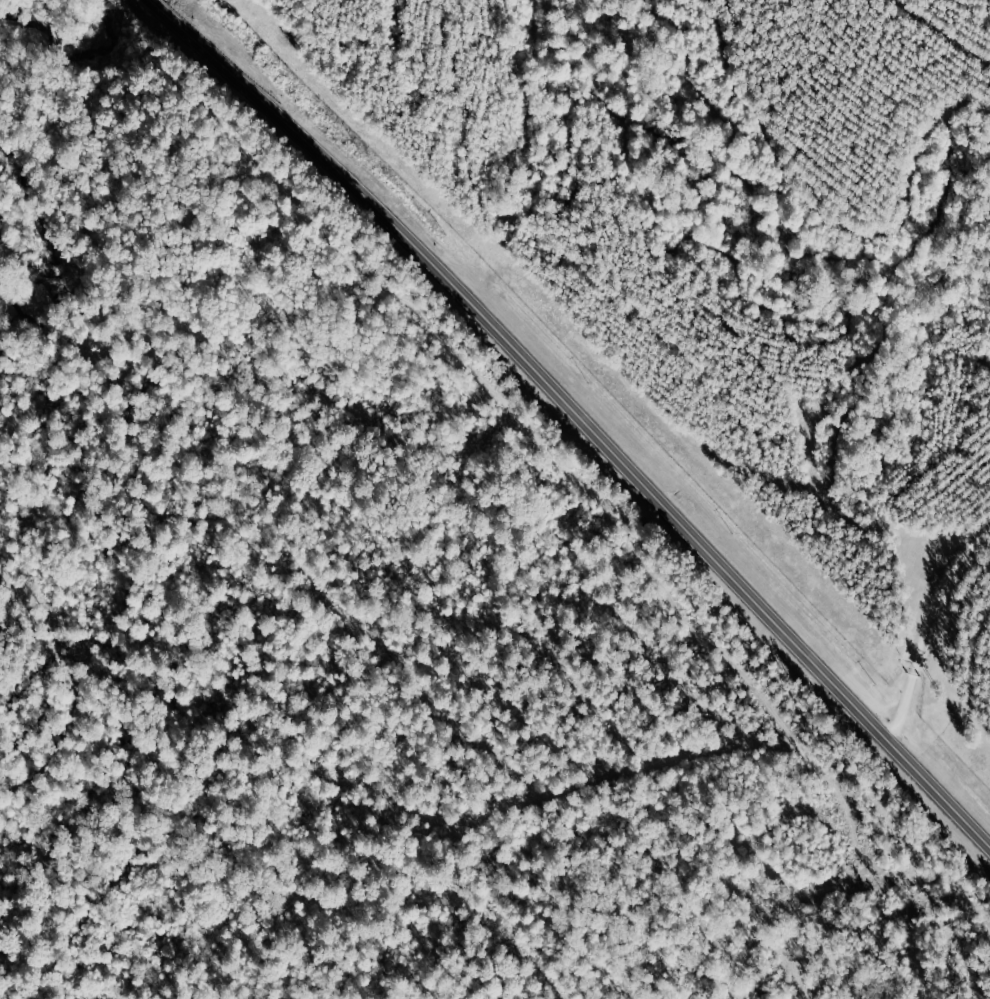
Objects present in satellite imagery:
road: (575, 414)
road: (924, 627)

